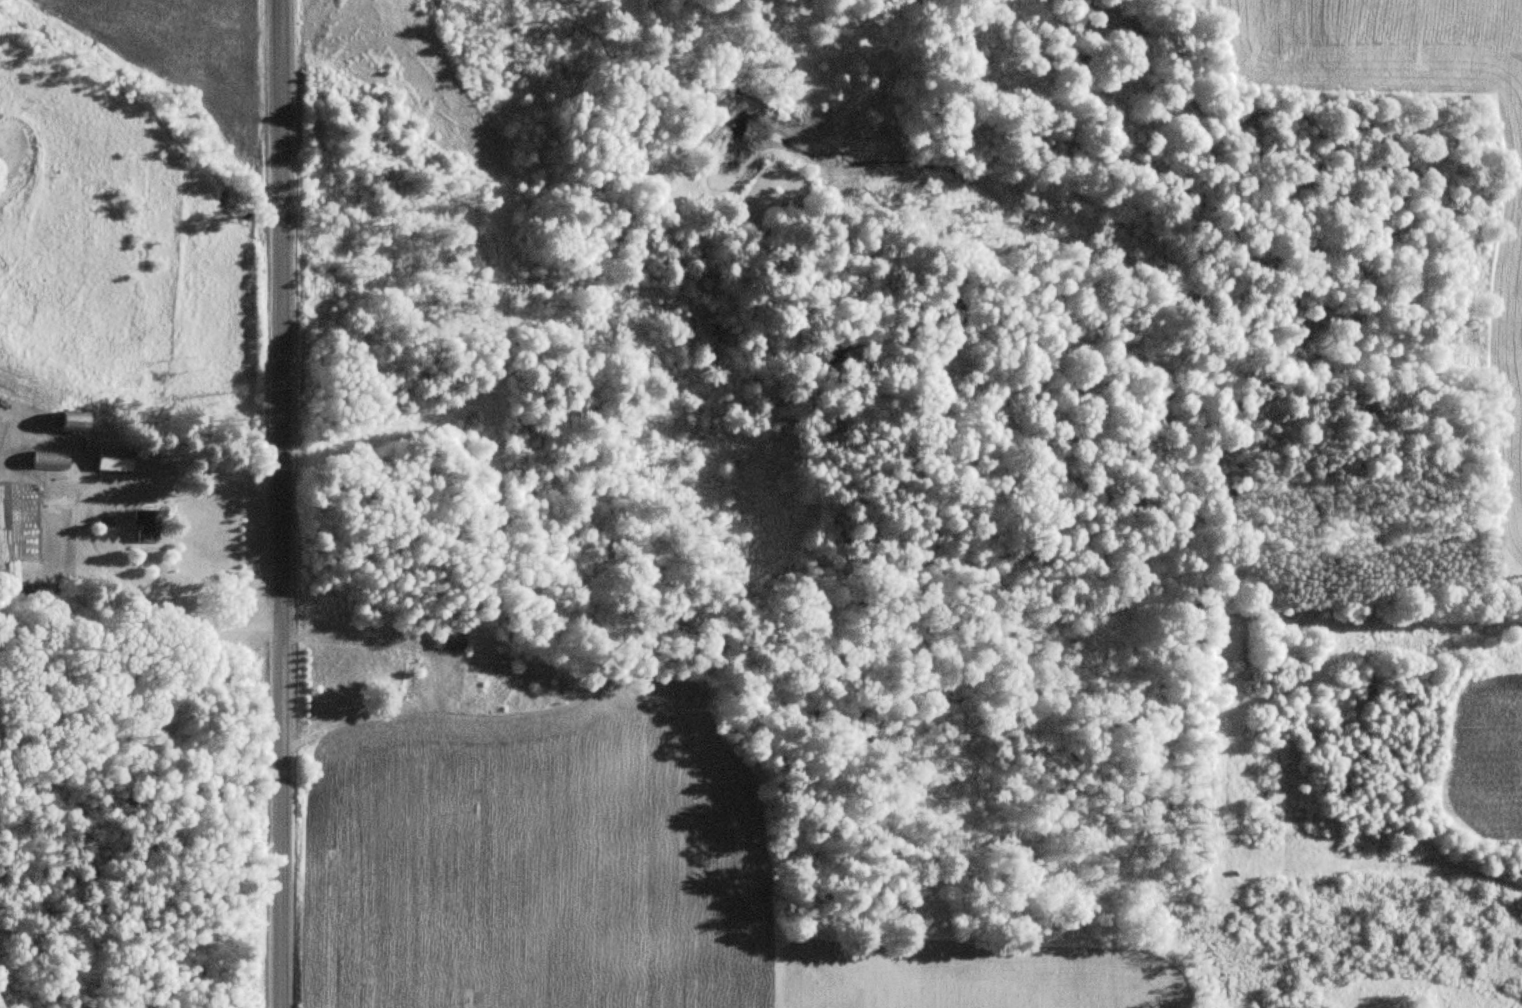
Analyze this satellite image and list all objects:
building: (74, 423)
building: (115, 459)
building: (49, 460)
road: (270, 503)
building: (145, 524)
building: (449, 640)
road: (135, 662)
building: (409, 679)

